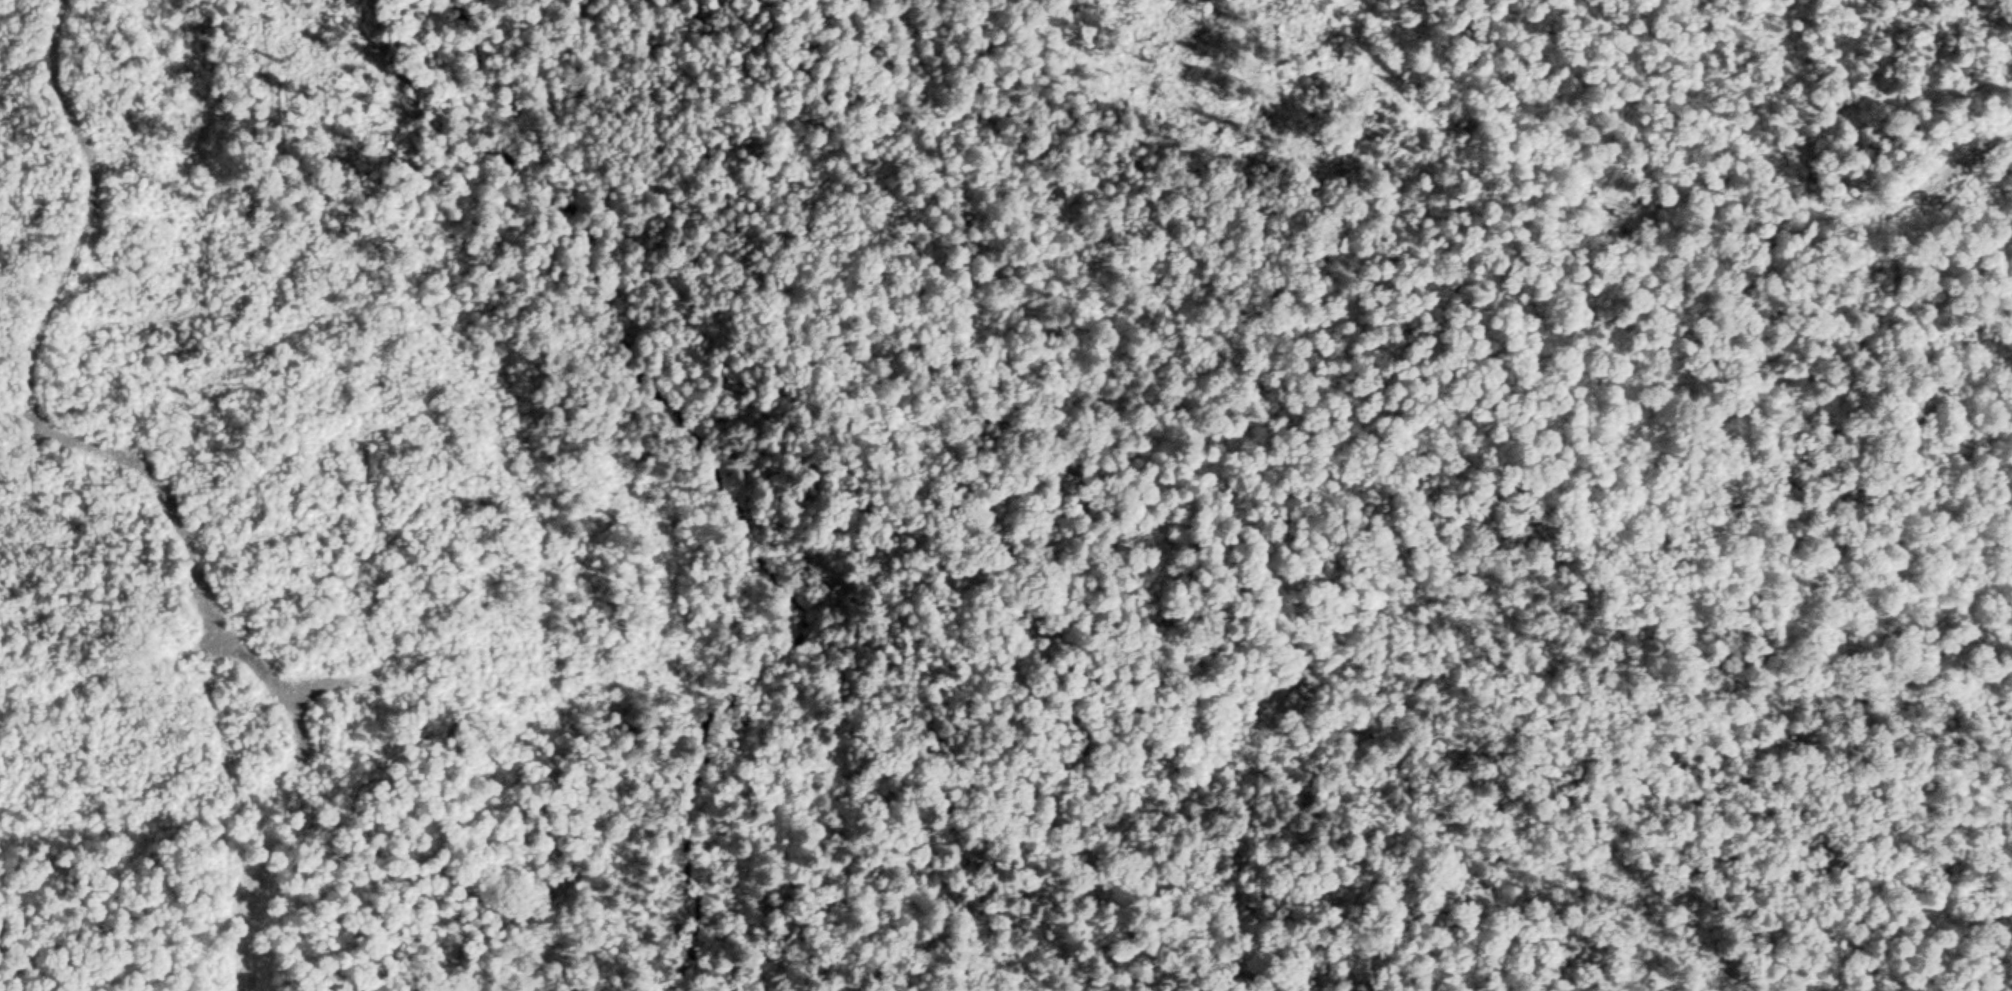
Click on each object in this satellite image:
road: (1961, 143)

